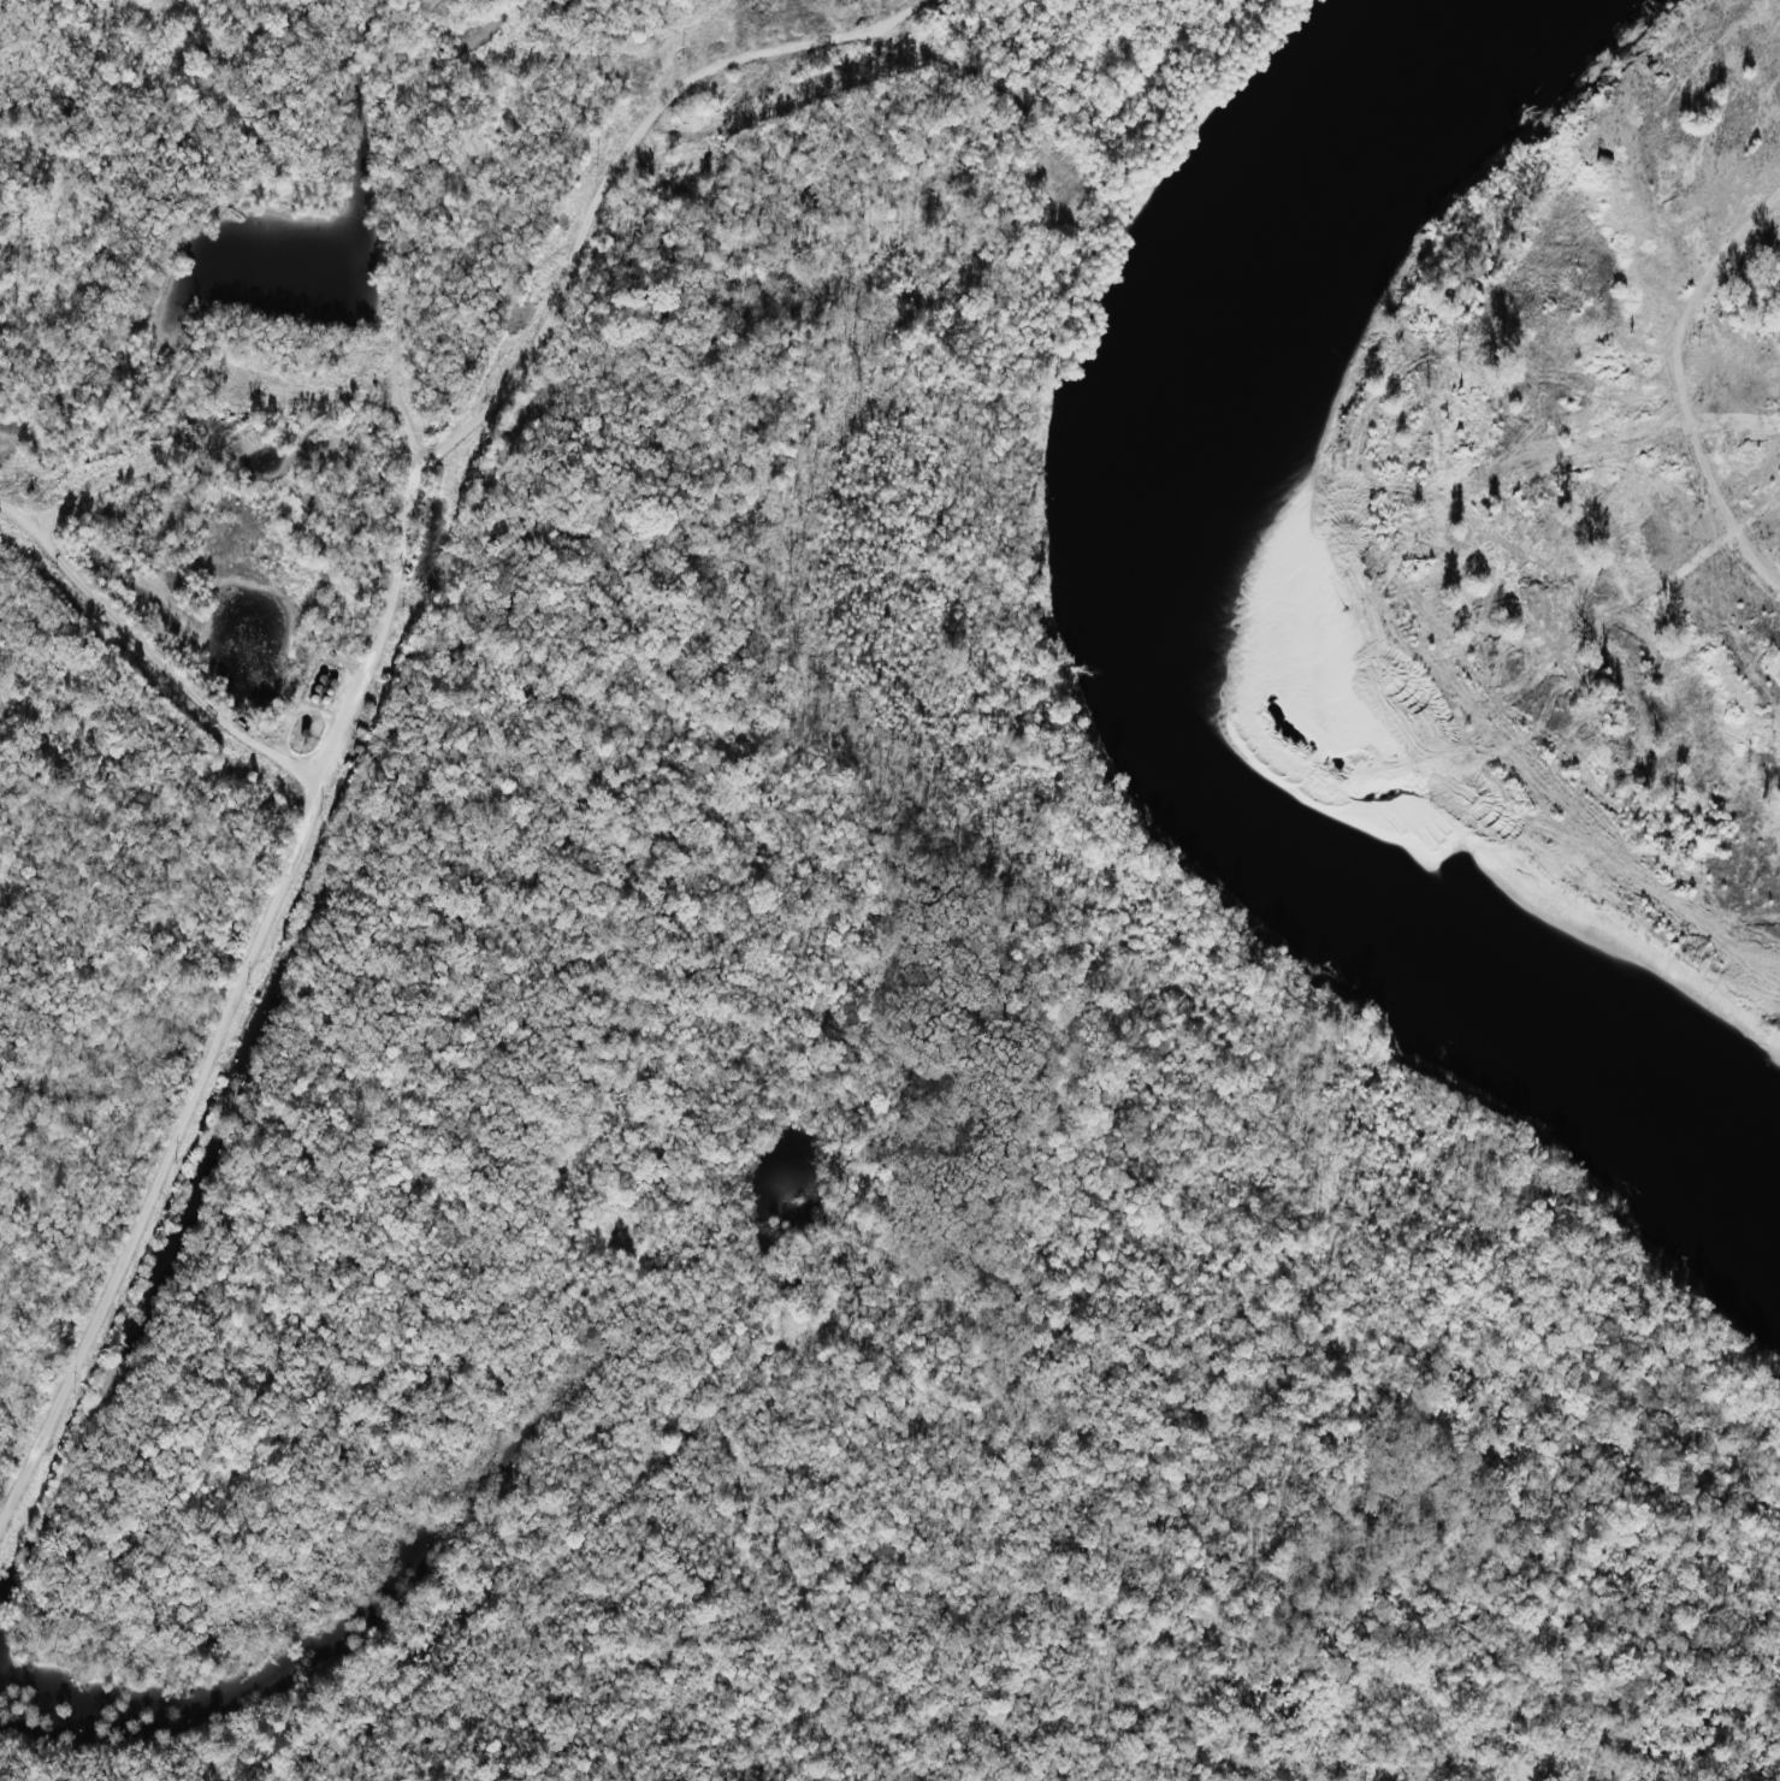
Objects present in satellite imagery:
river: (1222, 671)
road: (298, 806)

